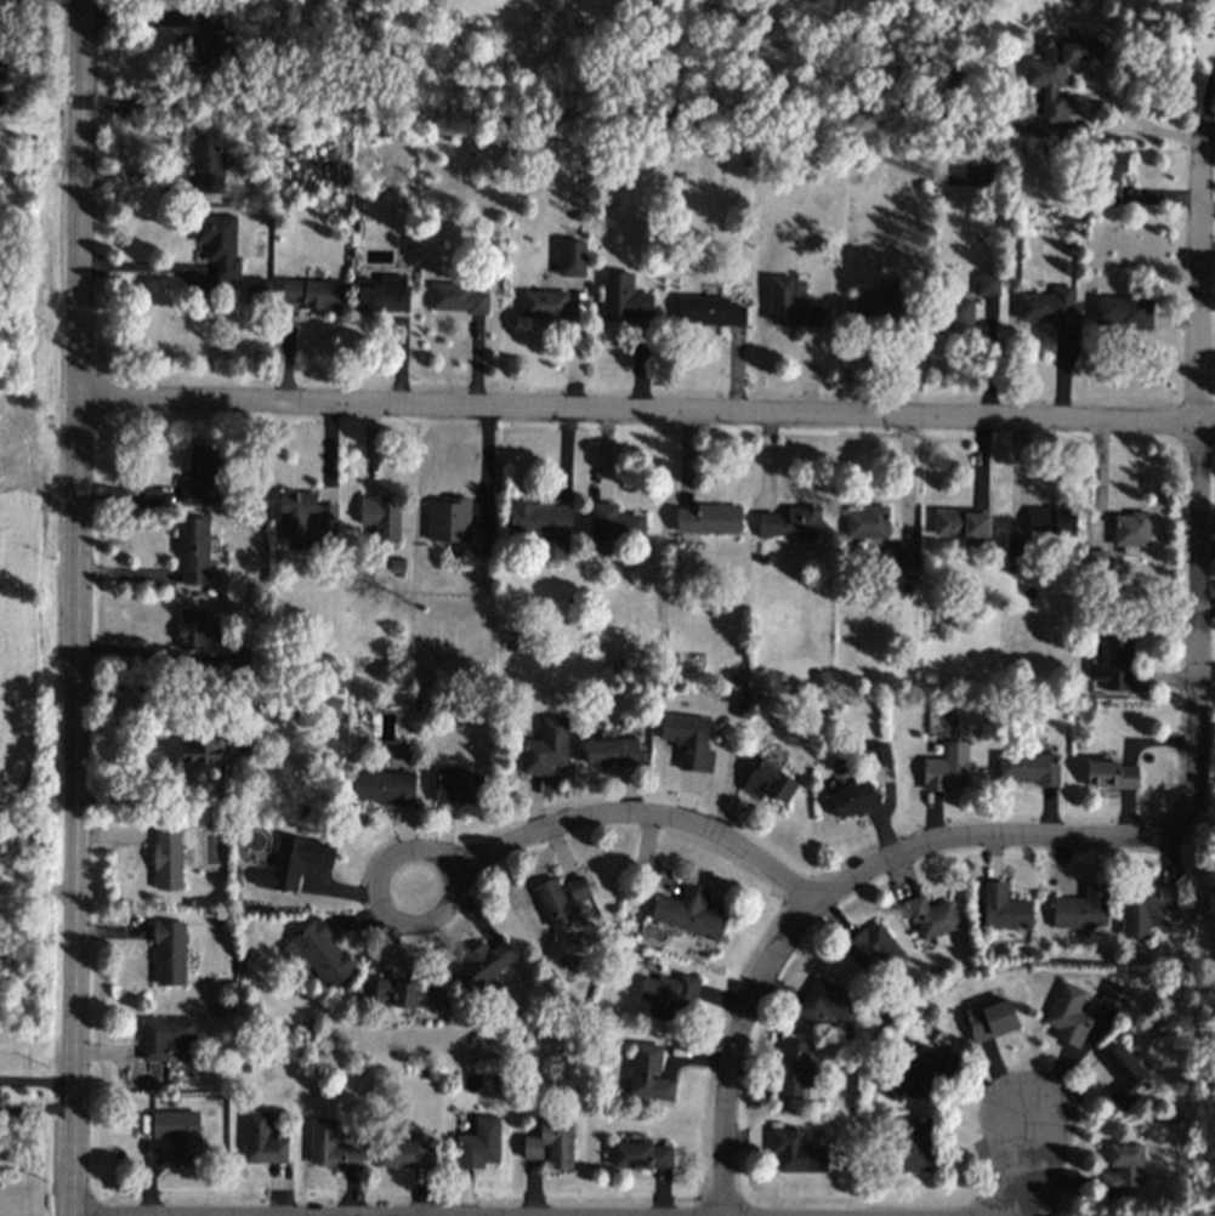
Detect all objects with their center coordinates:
building: (201, 41)
building: (1058, 74)
road: (1200, 100)
road: (1135, 131)
building: (208, 158)
building: (1108, 178)
building: (218, 245)
building: (572, 258)
road: (142, 265)
building: (987, 284)
building: (257, 291)
building: (312, 294)
building: (382, 295)
building: (456, 299)
building: (624, 299)
building: (791, 303)
building: (544, 305)
building: (1049, 307)
building: (881, 309)
building: (709, 311)
building: (1124, 312)
building: (955, 313)
road: (646, 410)
building: (201, 478)
road: (1193, 493)
building: (381, 516)
building: (305, 519)
building: (449, 519)
building: (708, 519)
building: (791, 522)
building: (1052, 522)
building: (867, 523)
building: (961, 523)
building: (615, 524)
building: (544, 528)
building: (1130, 532)
building: (193, 550)
building: (901, 555)
building: (1096, 561)
road: (76, 608)
building: (191, 629)
building: (1111, 660)
building: (688, 741)
building: (546, 746)
building: (201, 749)
road: (256, 751)
building: (612, 752)
building: (878, 756)
building: (946, 767)
building: (1028, 768)
building: (1109, 774)
building: (768, 783)
building: (458, 786)
building: (382, 788)
building: (852, 800)
road: (522, 835)
building: (166, 858)
building: (294, 862)
road: (36, 882)
road: (839, 887)
building: (561, 899)
building: (1145, 907)
building: (1004, 908)
building: (1081, 909)
building: (689, 913)
building: (931, 919)
building: (874, 950)
building: (169, 953)
building: (323, 953)
building: (483, 964)
building: (405, 993)
building: (669, 995)
building: (1115, 995)
building: (828, 1002)
building: (1068, 1016)
building: (990, 1019)
building: (165, 1036)
building: (793, 1069)
building: (920, 1073)
building: (648, 1074)
building: (1123, 1075)
road: (36, 1081)
road: (36, 1113)
building: (177, 1133)
building: (261, 1138)
building: (478, 1144)
building: (551, 1144)
building: (915, 1144)
building: (330, 1148)
building: (796, 1152)
building: (407, 1155)
building: (642, 1155)
road: (1040, 1166)
building: (1122, 1169)

